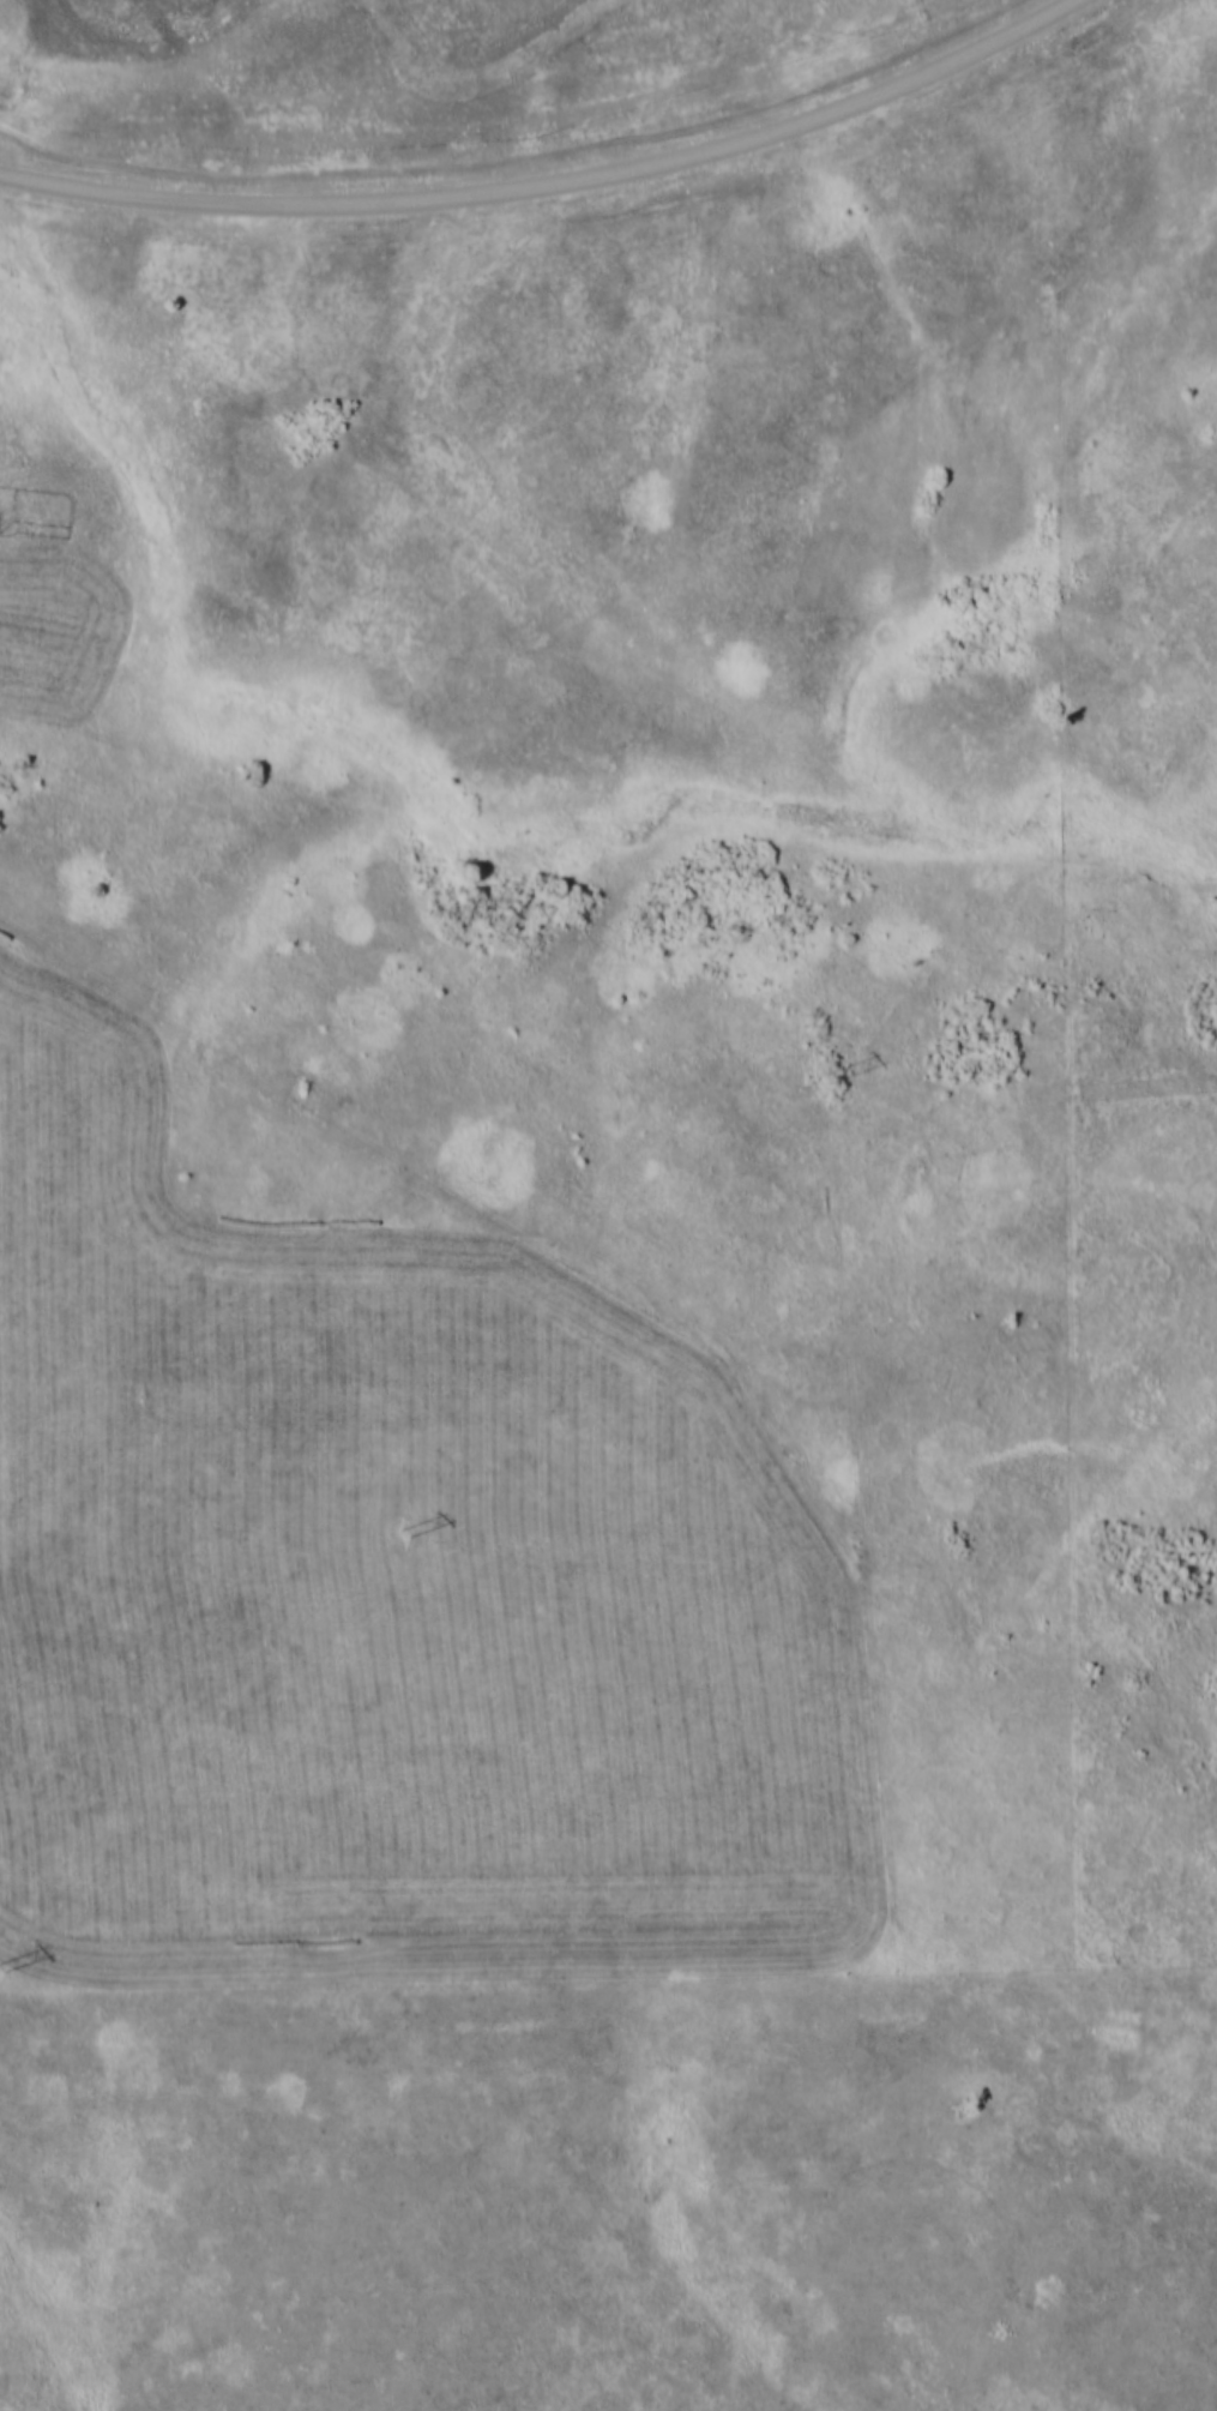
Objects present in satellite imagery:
road: (552, 178)
road: (1164, 808)
power tower: (841, 1075)
power tower: (411, 1537)
power tower: (6, 1973)

